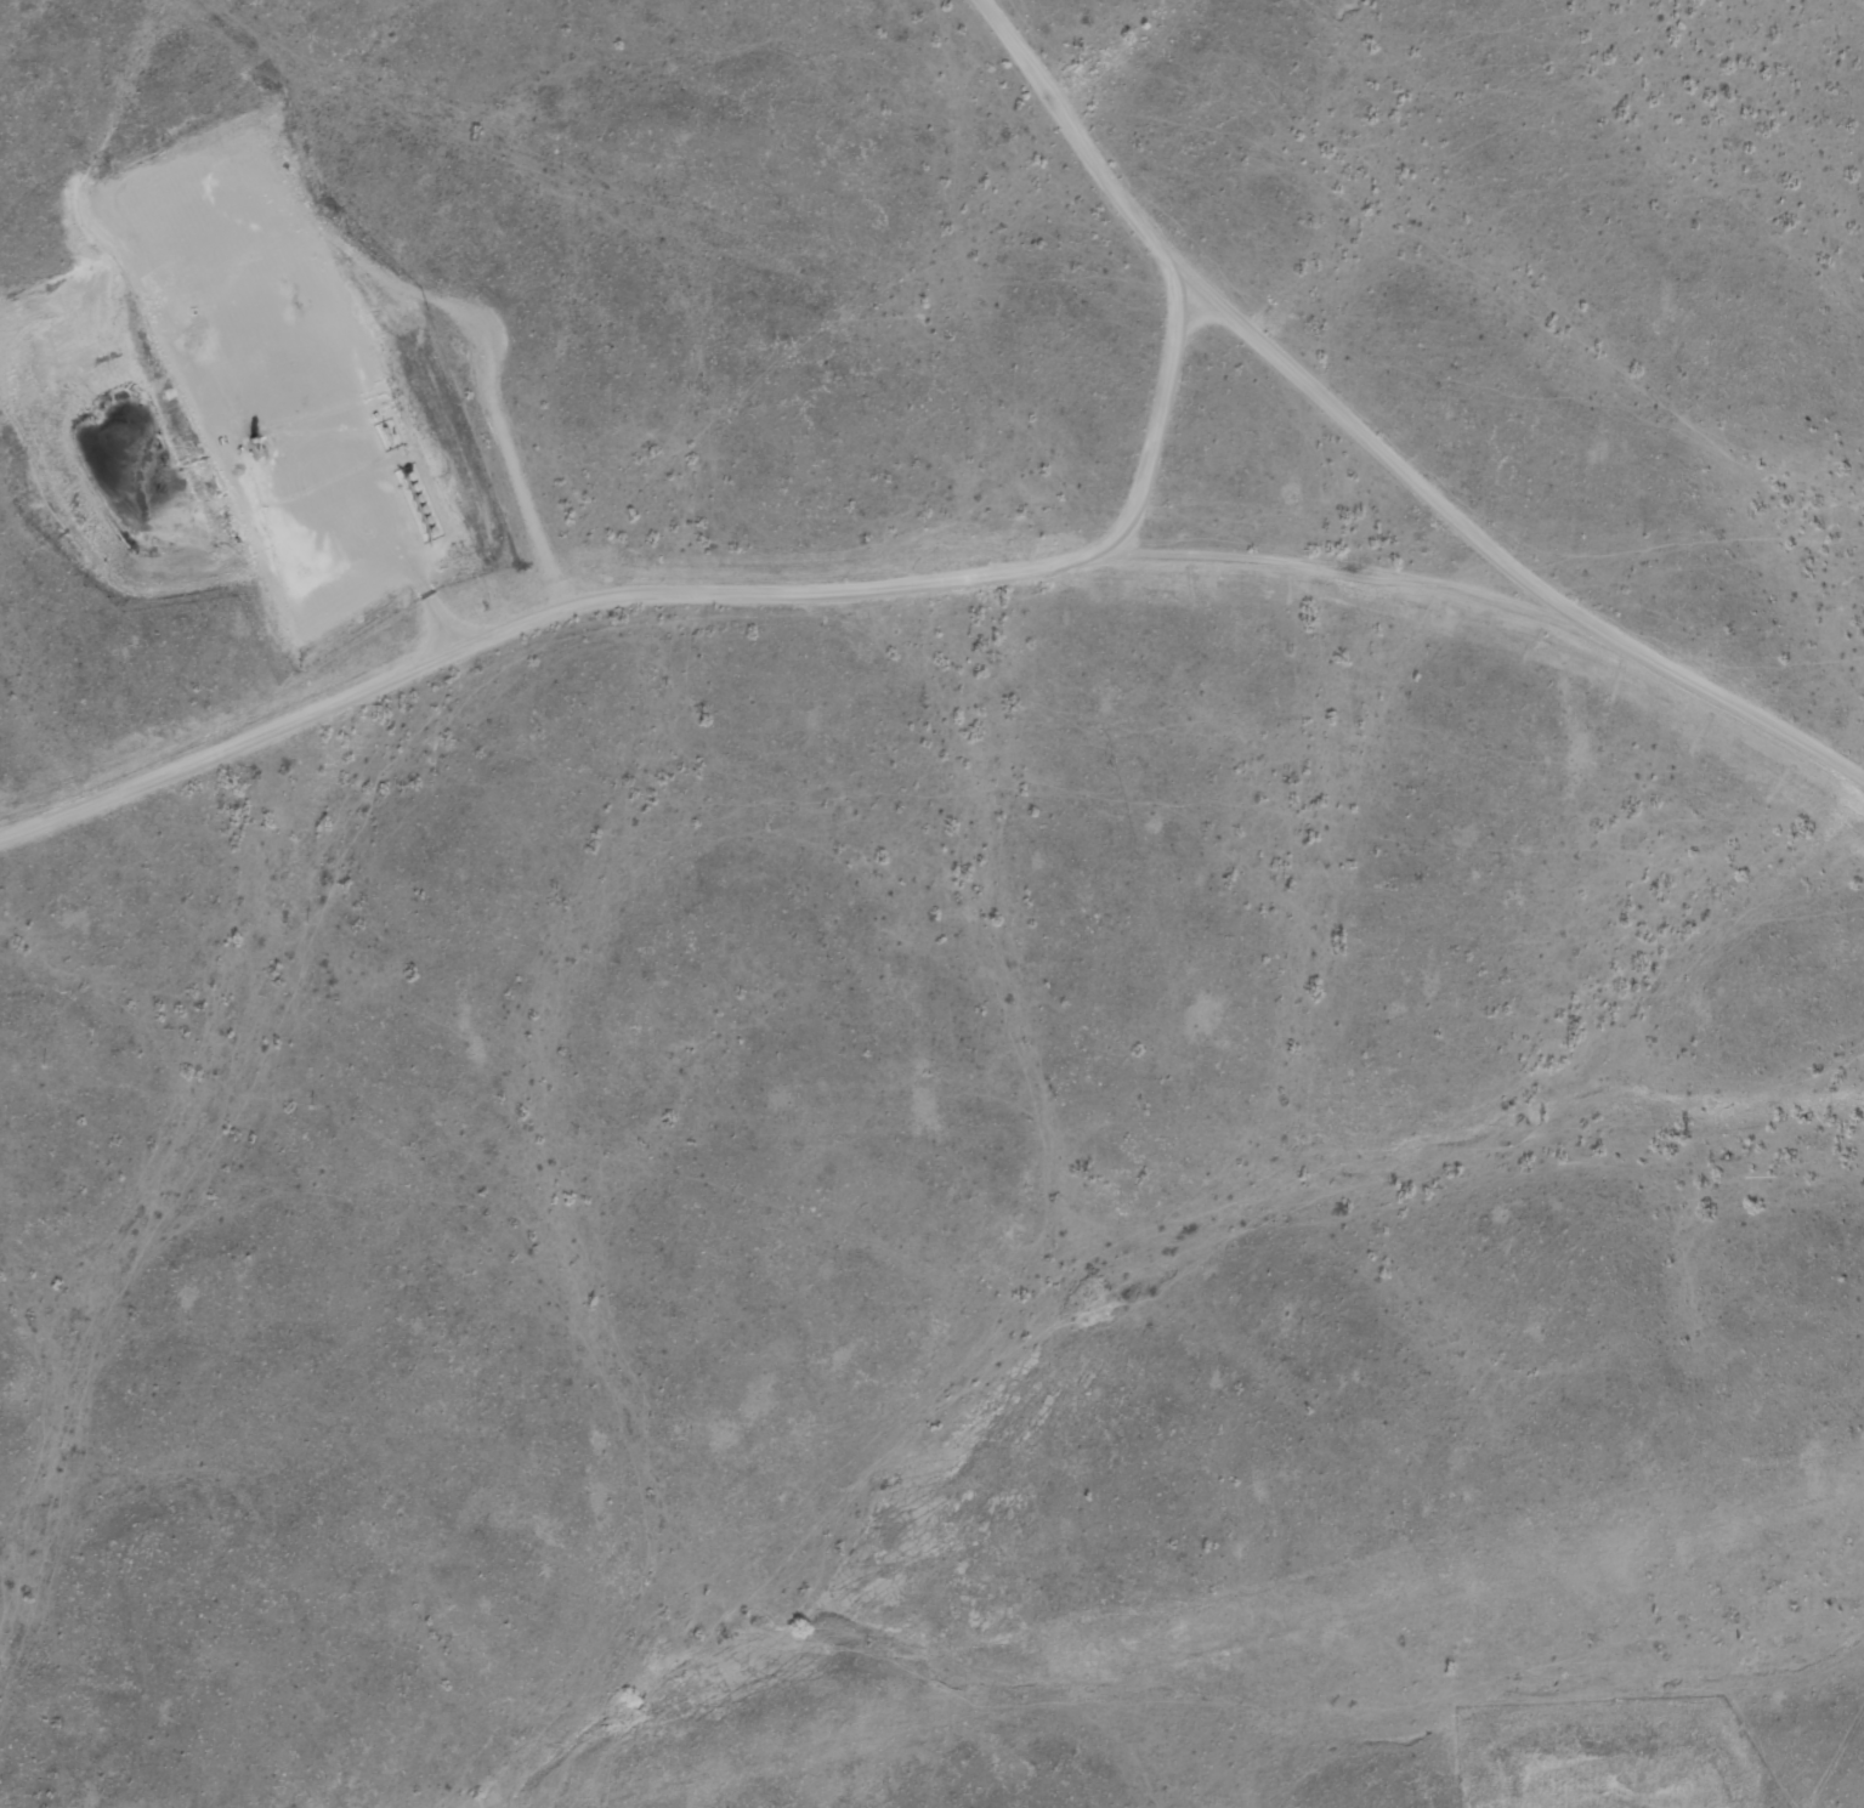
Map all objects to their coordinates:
road: (1404, 415)
road: (759, 601)

